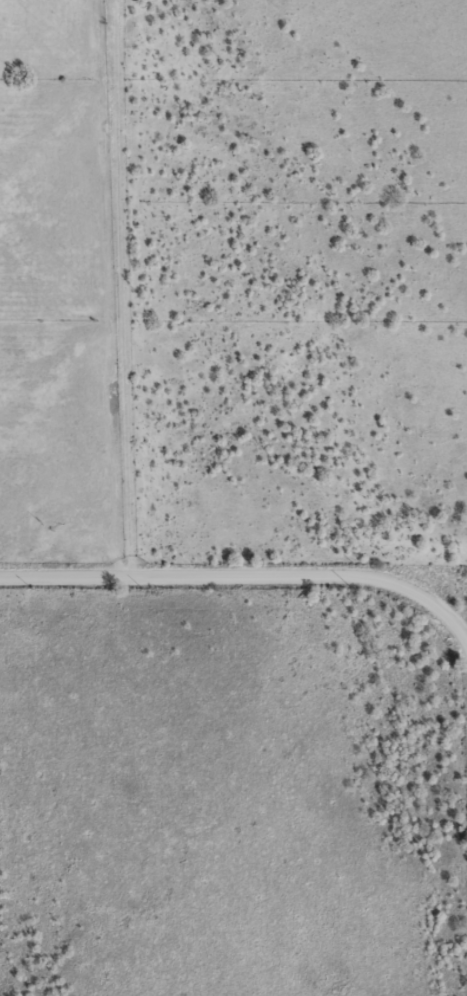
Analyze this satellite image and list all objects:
road: (142, 289)
road: (244, 577)

